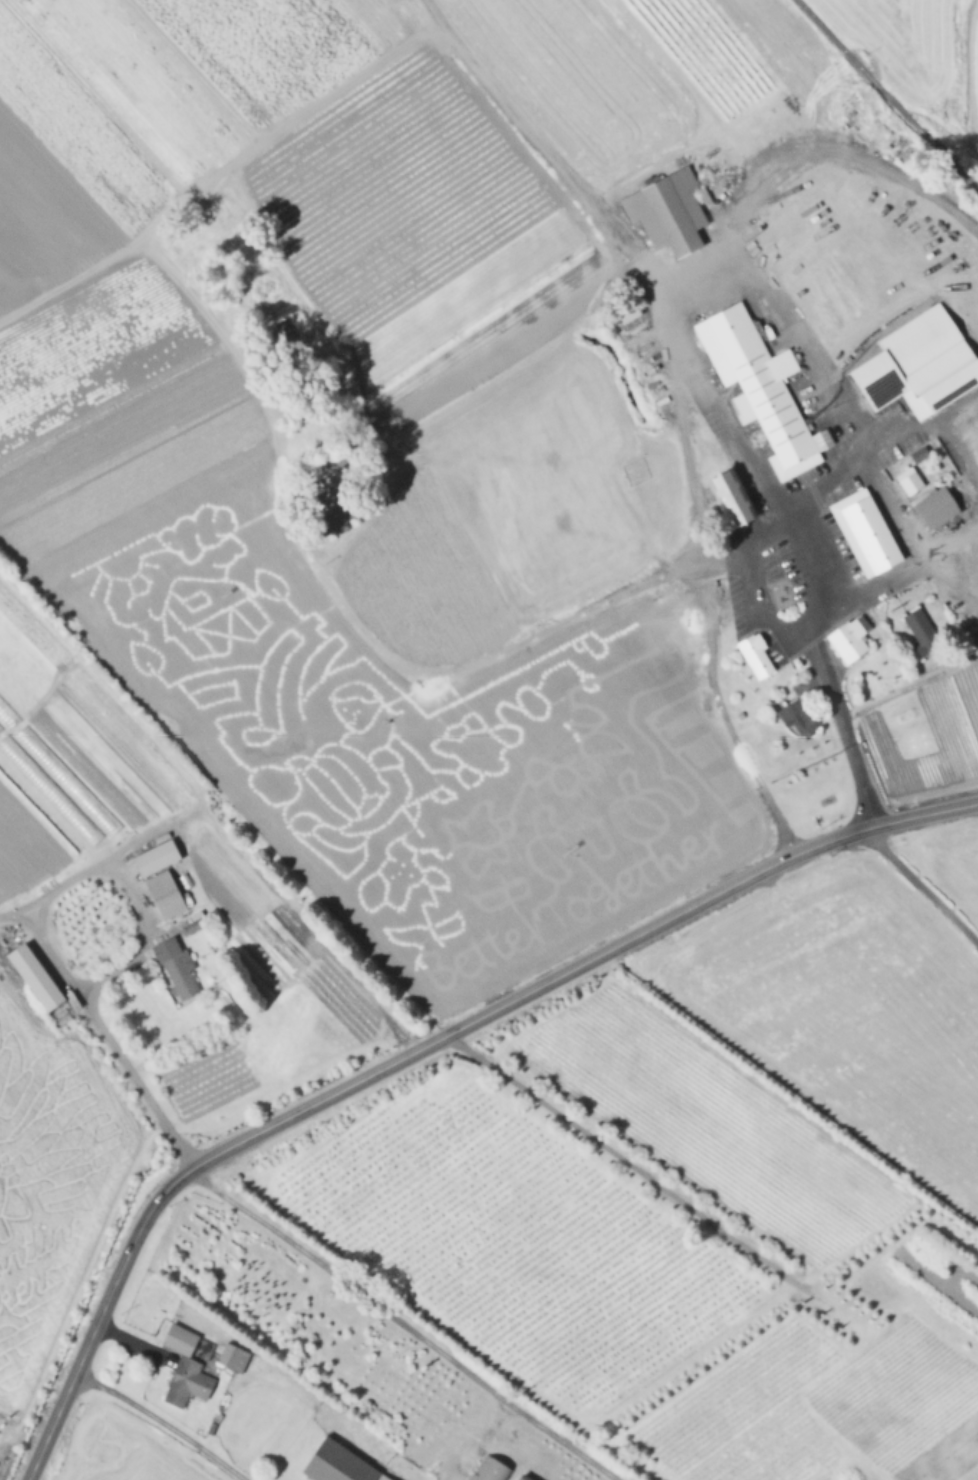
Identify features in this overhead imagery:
road: (441, 18)
crop: (920, 57)
road: (359, 88)
road: (886, 99)
road: (826, 141)
building: (667, 210)
crop: (297, 263)
road: (737, 265)
building: (919, 369)
building: (759, 387)
road: (926, 424)
building: (917, 453)
road: (958, 455)
building: (907, 479)
building: (732, 497)
road: (891, 503)
building: (934, 506)
building: (333, 515)
parking lot: (798, 518)
building: (865, 531)
road: (900, 569)
road: (950, 581)
road: (340, 600)
building: (662, 624)
building: (920, 631)
road: (789, 636)
building: (846, 641)
building: (753, 657)
road: (716, 701)
building: (797, 715)
building: (24, 733)
road: (842, 734)
crop: (410, 742)
building: (158, 858)
road: (89, 872)
building: (187, 882)
road: (923, 886)
building: (167, 895)
building: (194, 927)
road: (52, 962)
road: (583, 962)
building: (178, 970)
building: (36, 977)
road: (91, 1005)
road: (642, 1173)
crop: (702, 1182)
crop: (49, 1183)
road: (163, 1193)
road: (405, 1324)
building: (234, 1358)
road: (81, 1359)
building: (187, 1367)
road: (165, 1421)
building: (4, 1430)
building: (341, 1463)
building: (490, 1470)
building: (522, 1477)

